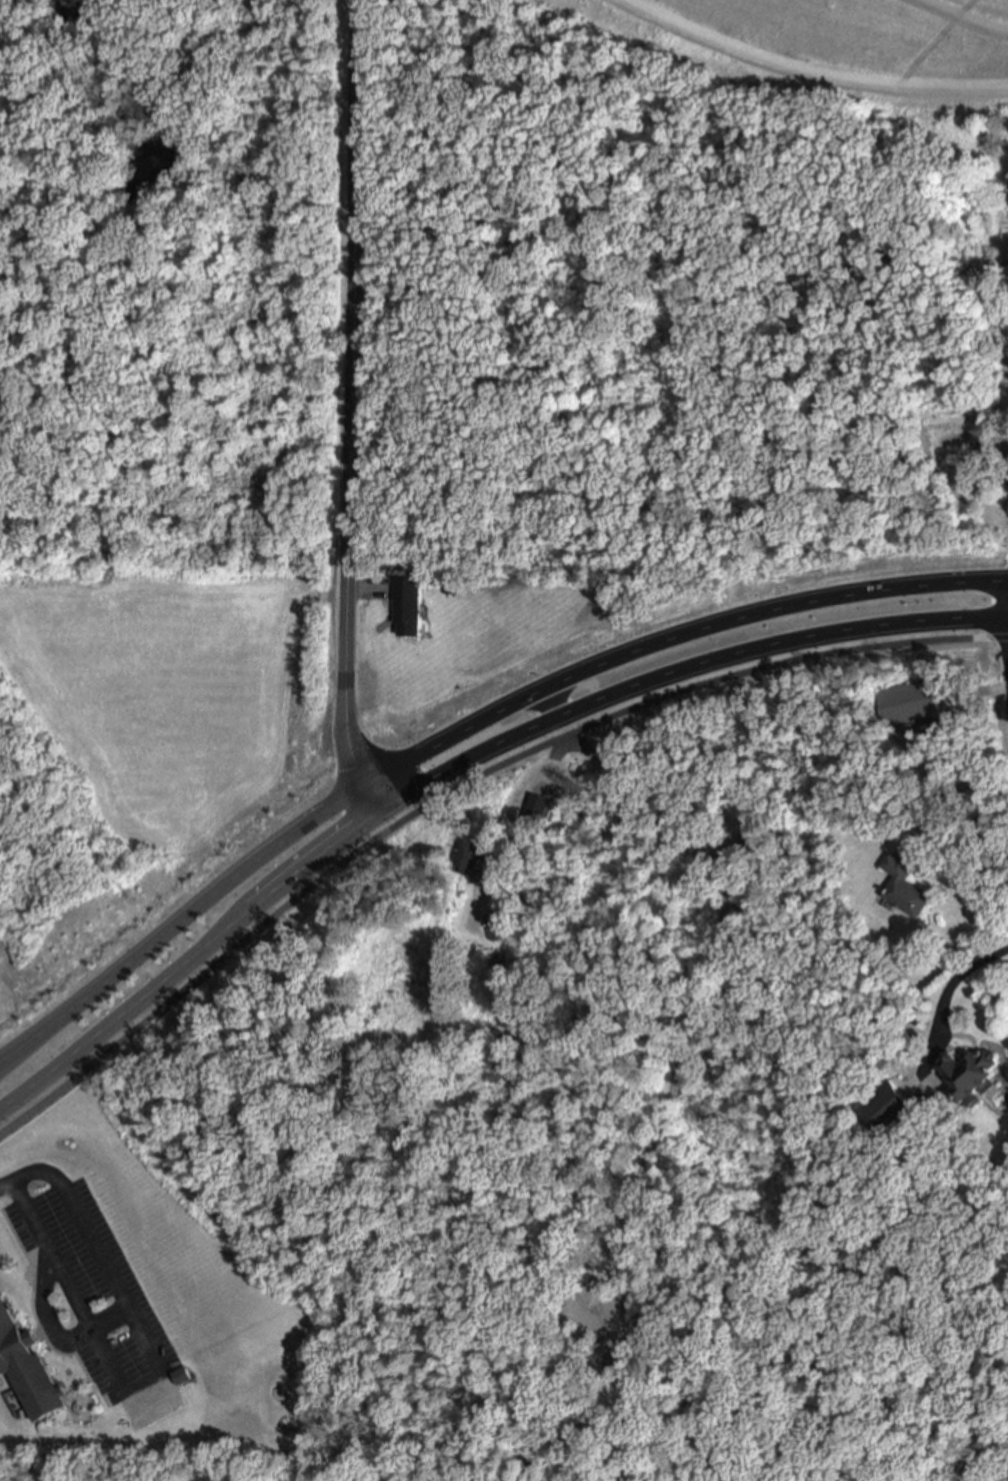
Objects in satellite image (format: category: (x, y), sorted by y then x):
track: (965, 15)
road: (962, 17)
road: (929, 43)
track: (735, 45)
road: (808, 73)
building: (996, 294)
road: (353, 409)
building: (964, 439)
building: (409, 604)
building: (914, 700)
crop: (179, 706)
road: (463, 722)
road: (932, 727)
road: (491, 752)
road: (504, 763)
road: (536, 785)
road: (950, 790)
building: (538, 807)
building: (738, 848)
building: (471, 854)
building: (908, 885)
building: (495, 919)
road: (950, 980)
road: (704, 984)
crop: (11, 1010)
road: (3, 1061)
road: (3, 1064)
building: (969, 1073)
road: (28, 1088)
road: (43, 1107)
building: (887, 1107)
road: (96, 1246)
parking lot: (97, 1290)
road: (77, 1302)
road: (45, 1312)
road: (109, 1318)
building: (27, 1363)
building: (182, 1373)
building: (1, 1379)
building: (0, 1383)

